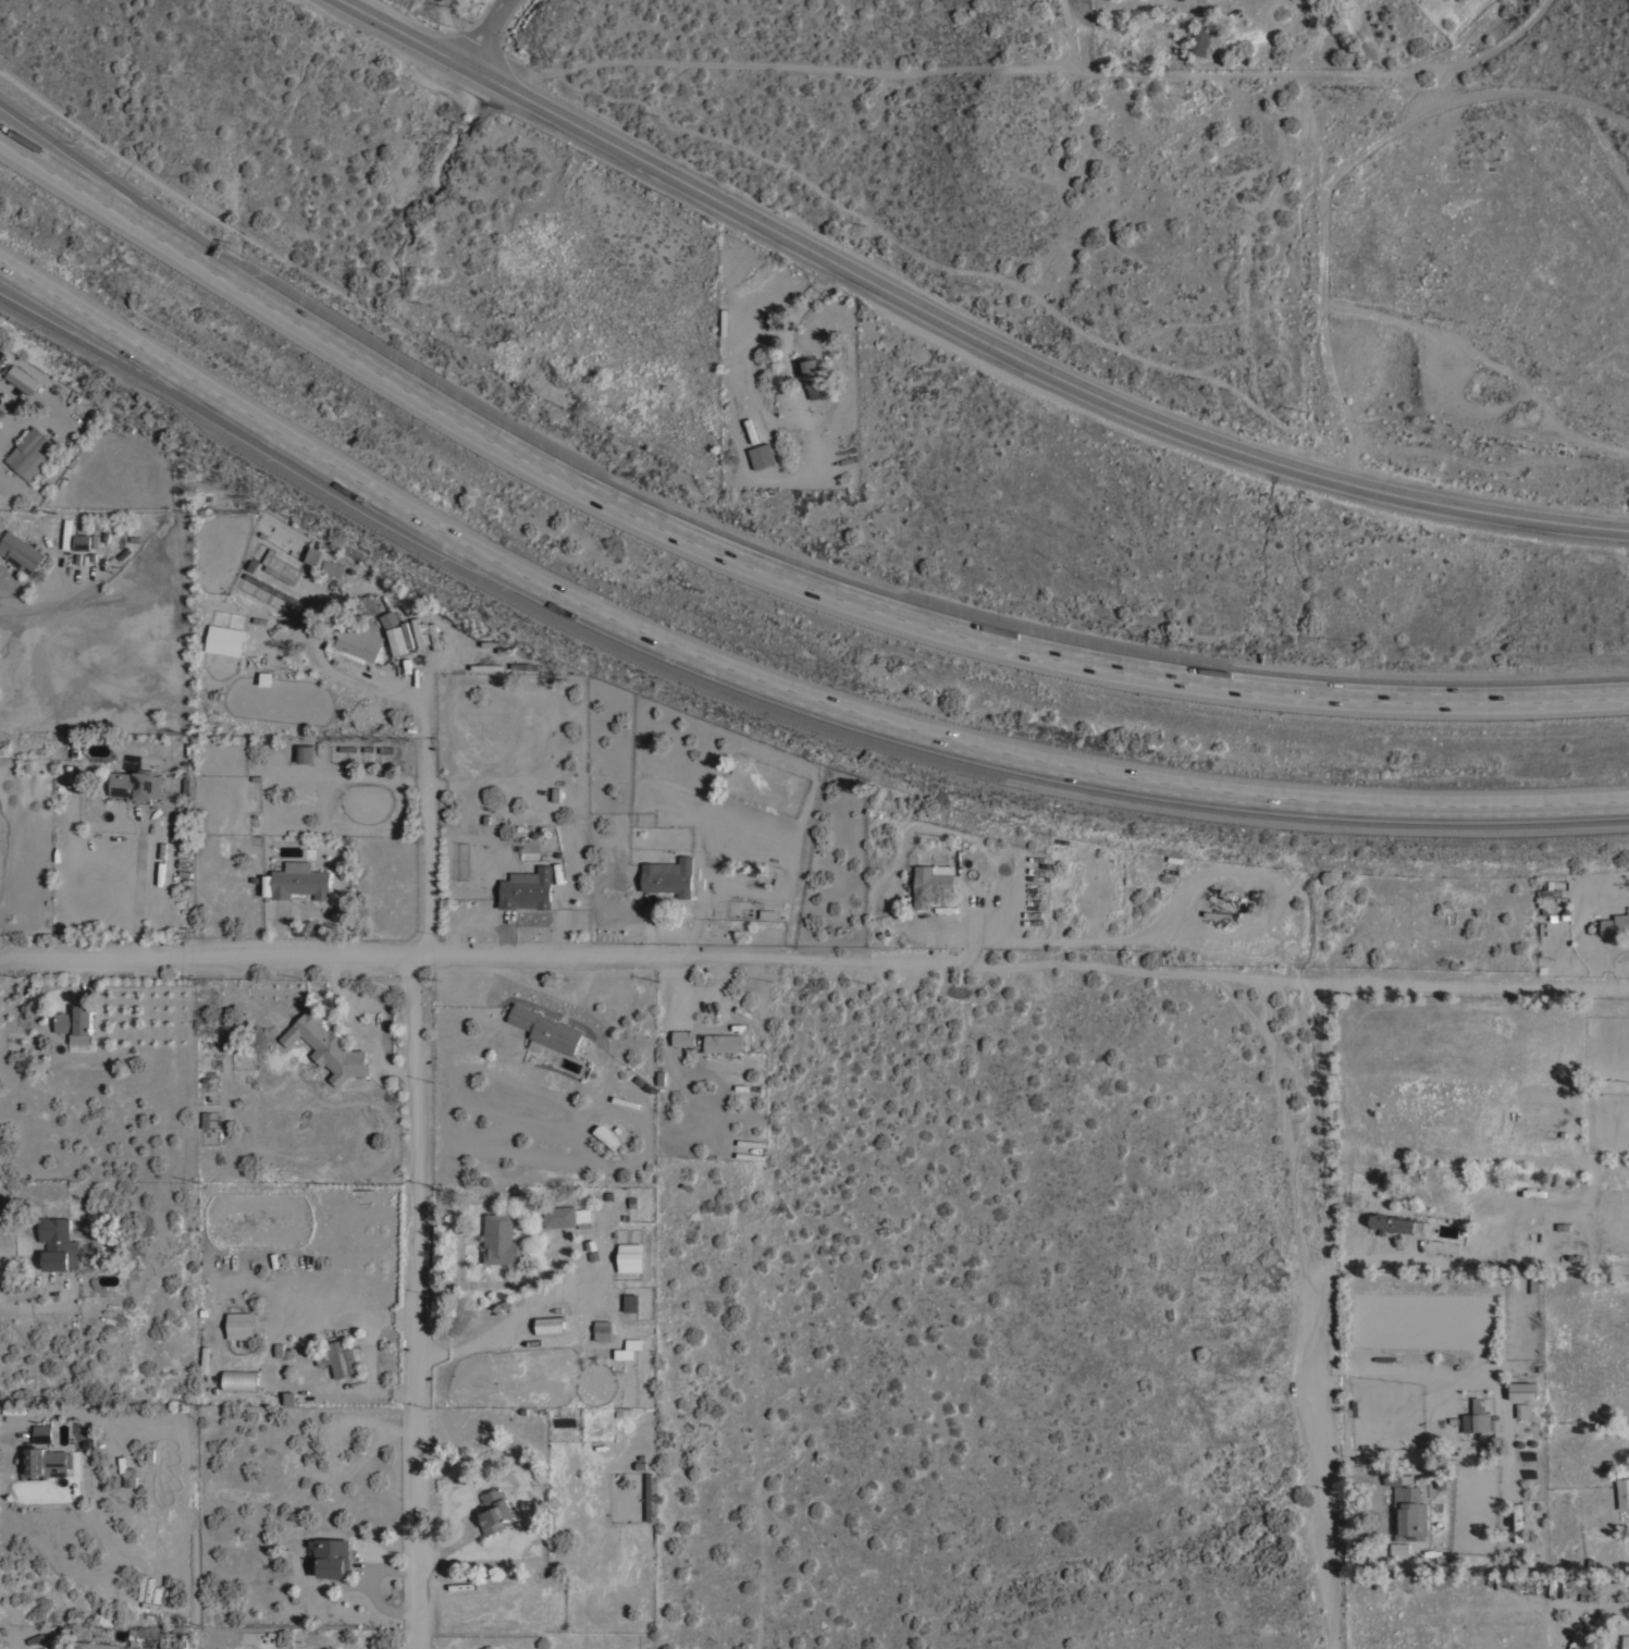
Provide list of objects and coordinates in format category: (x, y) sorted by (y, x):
road: (447, 28)
road: (486, 32)
road: (1074, 35)
building: (1200, 41)
road: (1026, 72)
road: (109, 182)
road: (109, 199)
road: (961, 330)
road: (145, 362)
building: (811, 377)
building: (22, 378)
building: (32, 452)
building: (762, 455)
building: (82, 541)
building: (21, 551)
building: (332, 567)
building: (169, 584)
building: (274, 588)
road: (887, 603)
building: (388, 618)
building: (225, 639)
building: (396, 640)
building: (356, 643)
building: (525, 665)
road: (767, 675)
building: (305, 752)
building: (136, 785)
building: (669, 875)
building: (300, 879)
building: (931, 882)
road: (145, 888)
building: (527, 888)
building: (1548, 890)
building: (1222, 902)
building: (767, 912)
building: (1614, 923)
road: (814, 963)
building: (76, 1022)
building: (545, 1029)
building: (683, 1037)
building: (724, 1042)
building: (328, 1046)
building: (1540, 1115)
building: (606, 1136)
road: (418, 1154)
building: (1565, 1187)
building: (559, 1215)
building: (584, 1218)
building: (1394, 1221)
building: (1508, 1225)
road: (457, 1228)
building: (1568, 1238)
building: (502, 1239)
building: (58, 1243)
building: (630, 1256)
road: (504, 1283)
building: (631, 1302)
road: (509, 1318)
road: (1328, 1318)
building: (239, 1324)
building: (550, 1325)
building: (602, 1328)
building: (1529, 1340)
building: (633, 1342)
building: (338, 1357)
building: (239, 1379)
building: (1521, 1389)
building: (288, 1399)
building: (1523, 1408)
building: (1494, 1417)
building: (1476, 1418)
building: (42, 1432)
building: (1492, 1448)
building: (44, 1462)
building: (1396, 1476)
building: (1622, 1491)
building: (649, 1496)
building: (495, 1509)
building: (1409, 1513)
building: (1517, 1523)
building: (1398, 1547)
building: (332, 1555)
building: (1569, 1586)
building: (1626, 1641)
building: (94, 1645)

